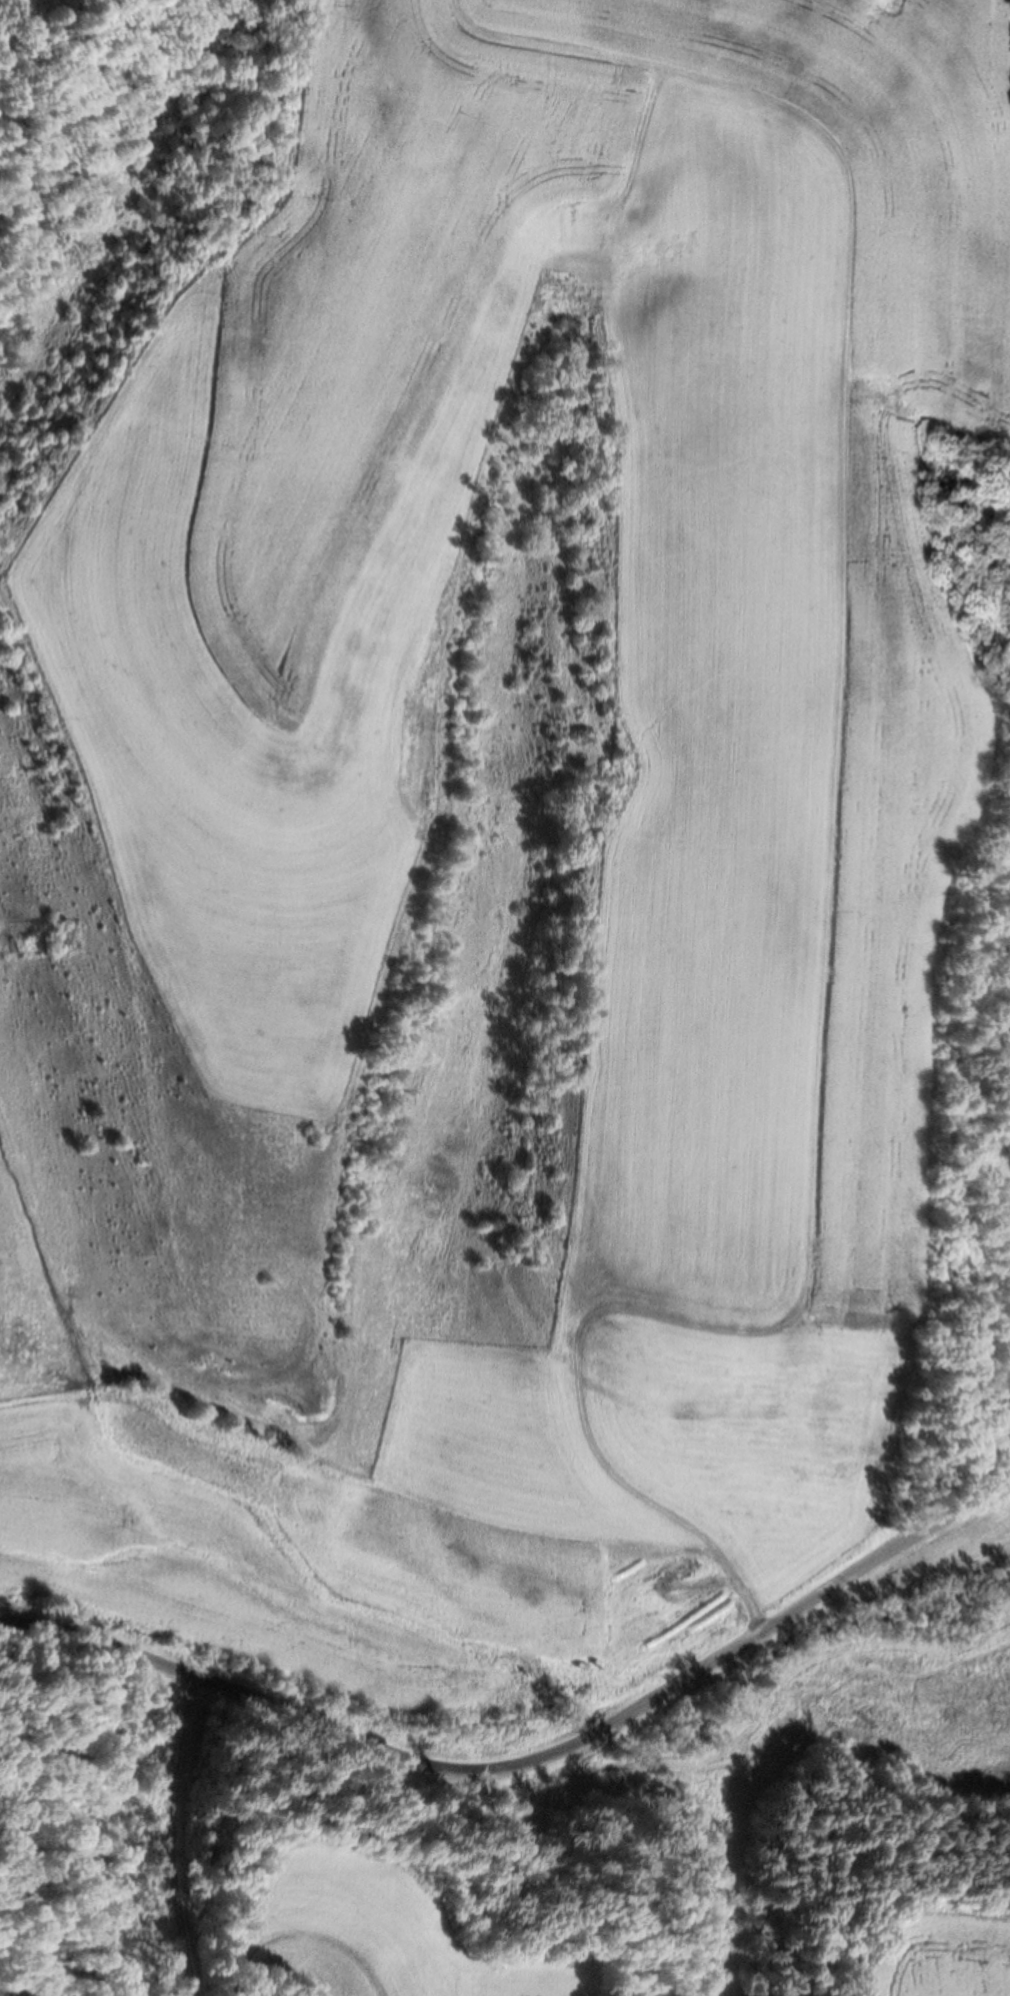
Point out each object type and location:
road: (529, 1762)

